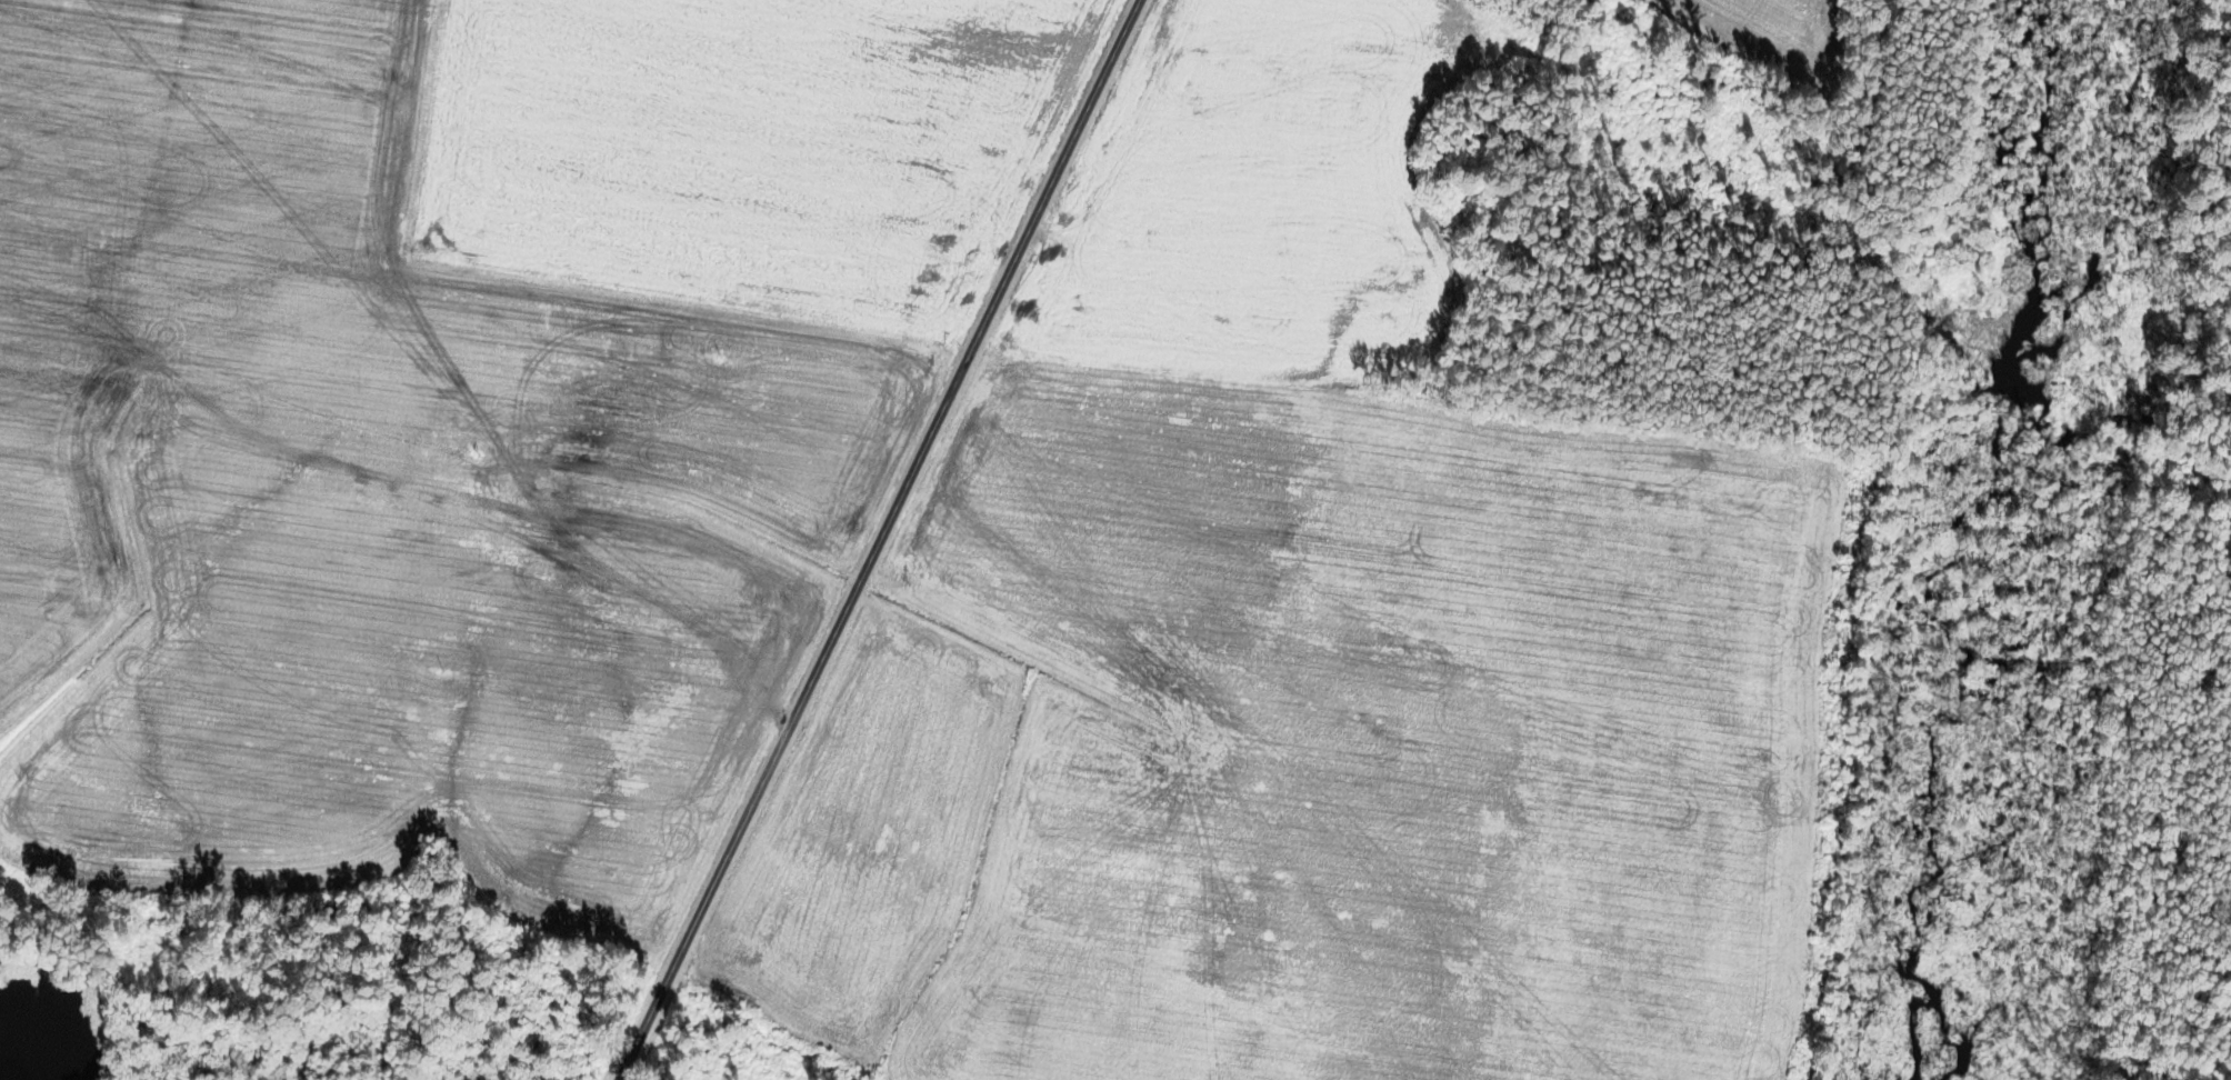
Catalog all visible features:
road: (879, 540)

